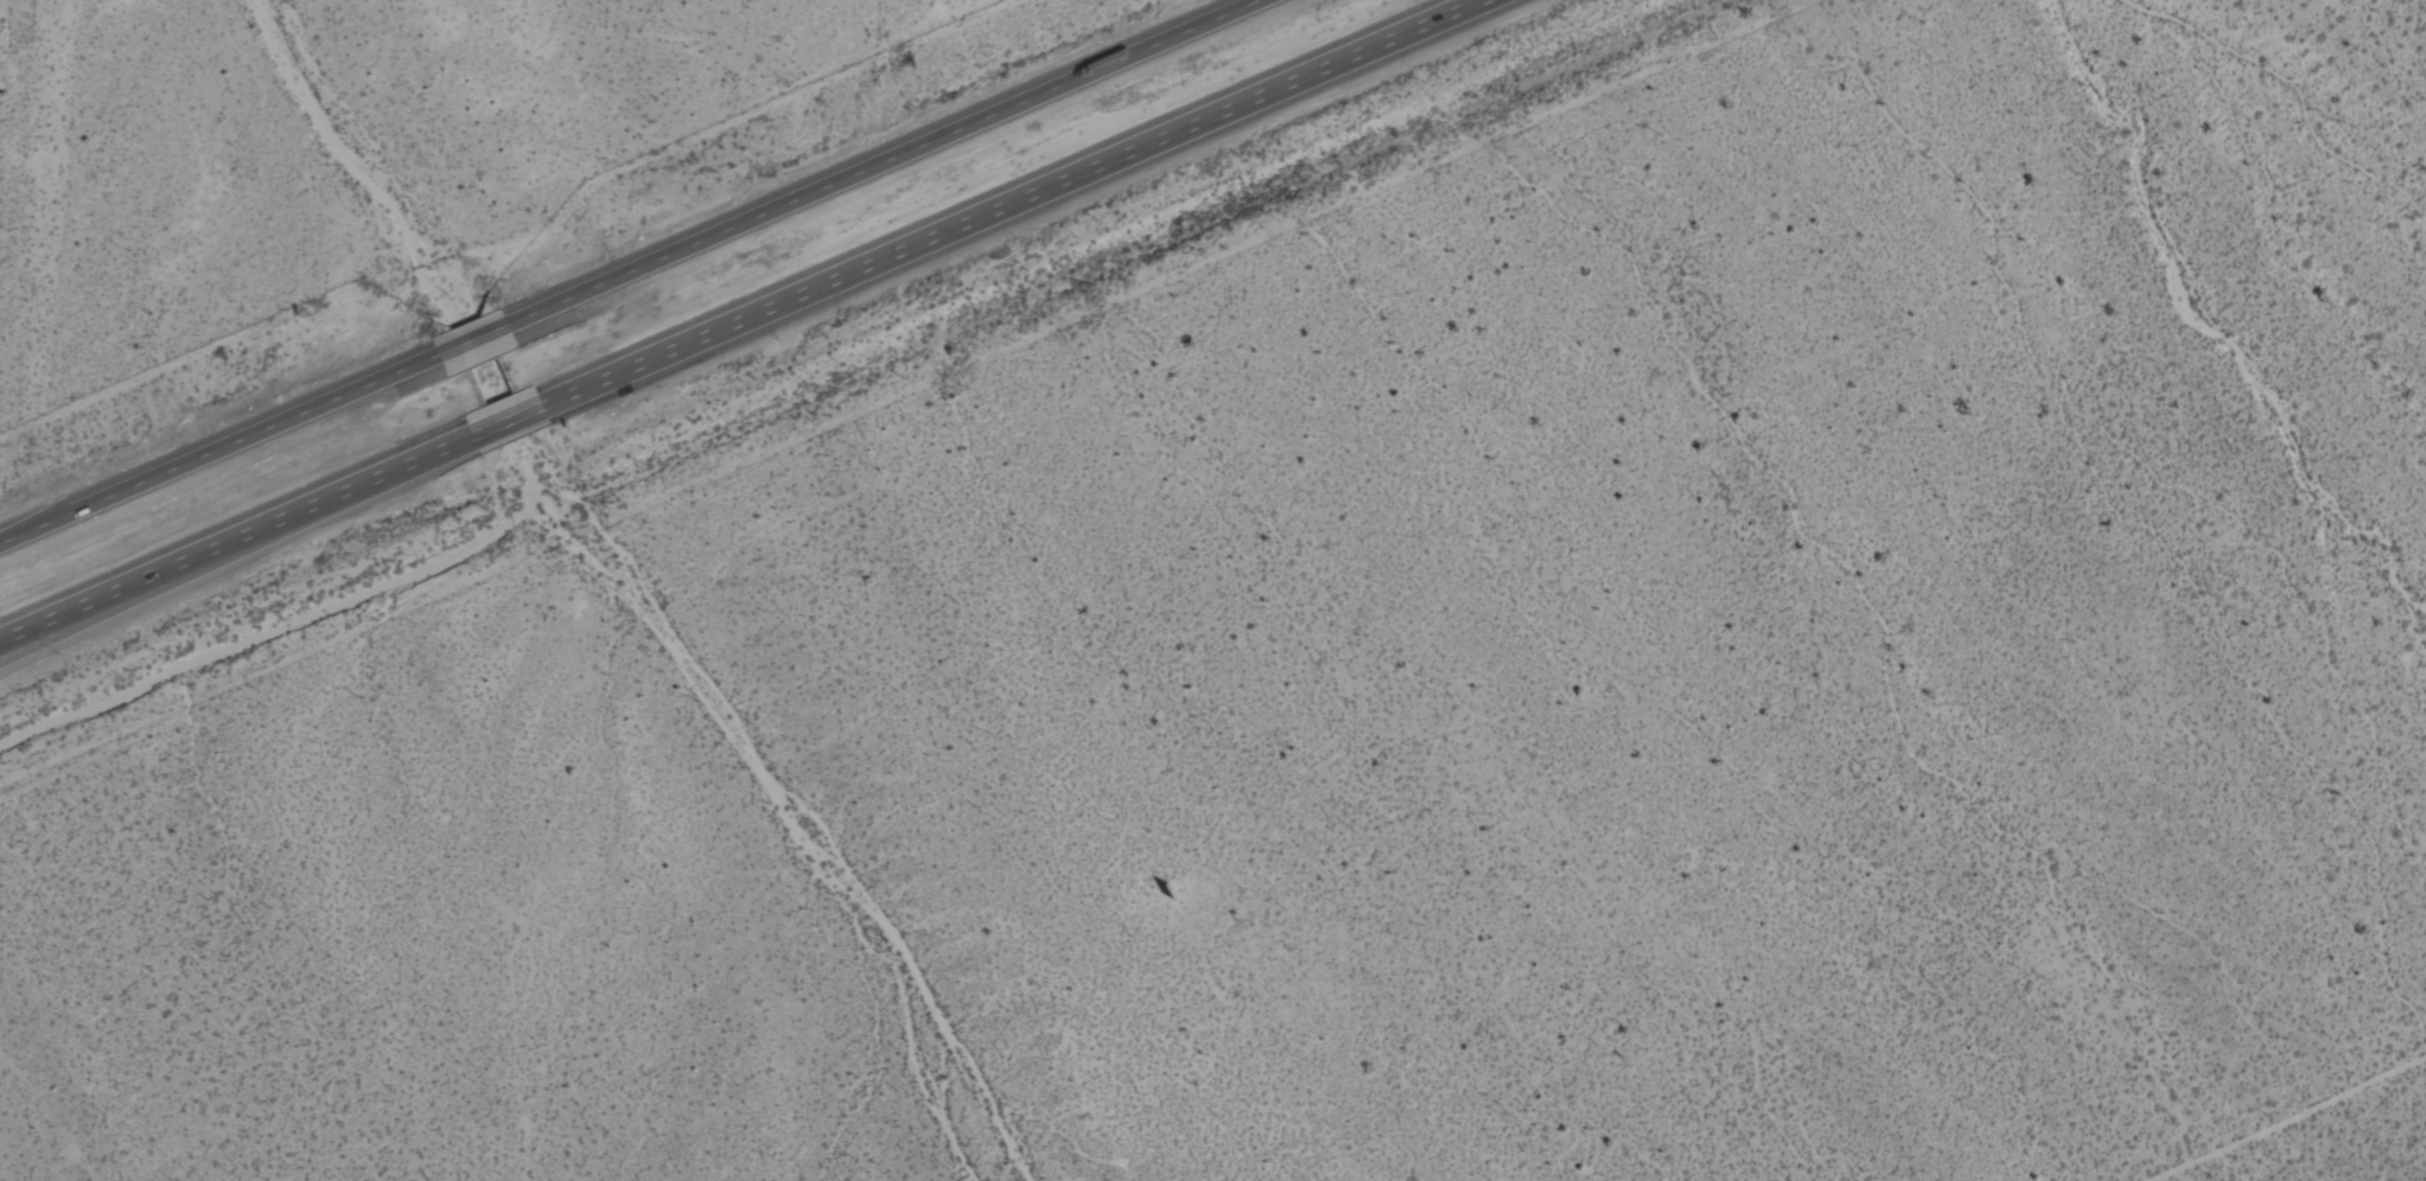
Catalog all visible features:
road: (883, 162)
road: (1011, 204)
railway: (688, 299)
road: (472, 341)
road: (508, 424)
road: (219, 452)
road: (236, 542)
road: (13, 640)

